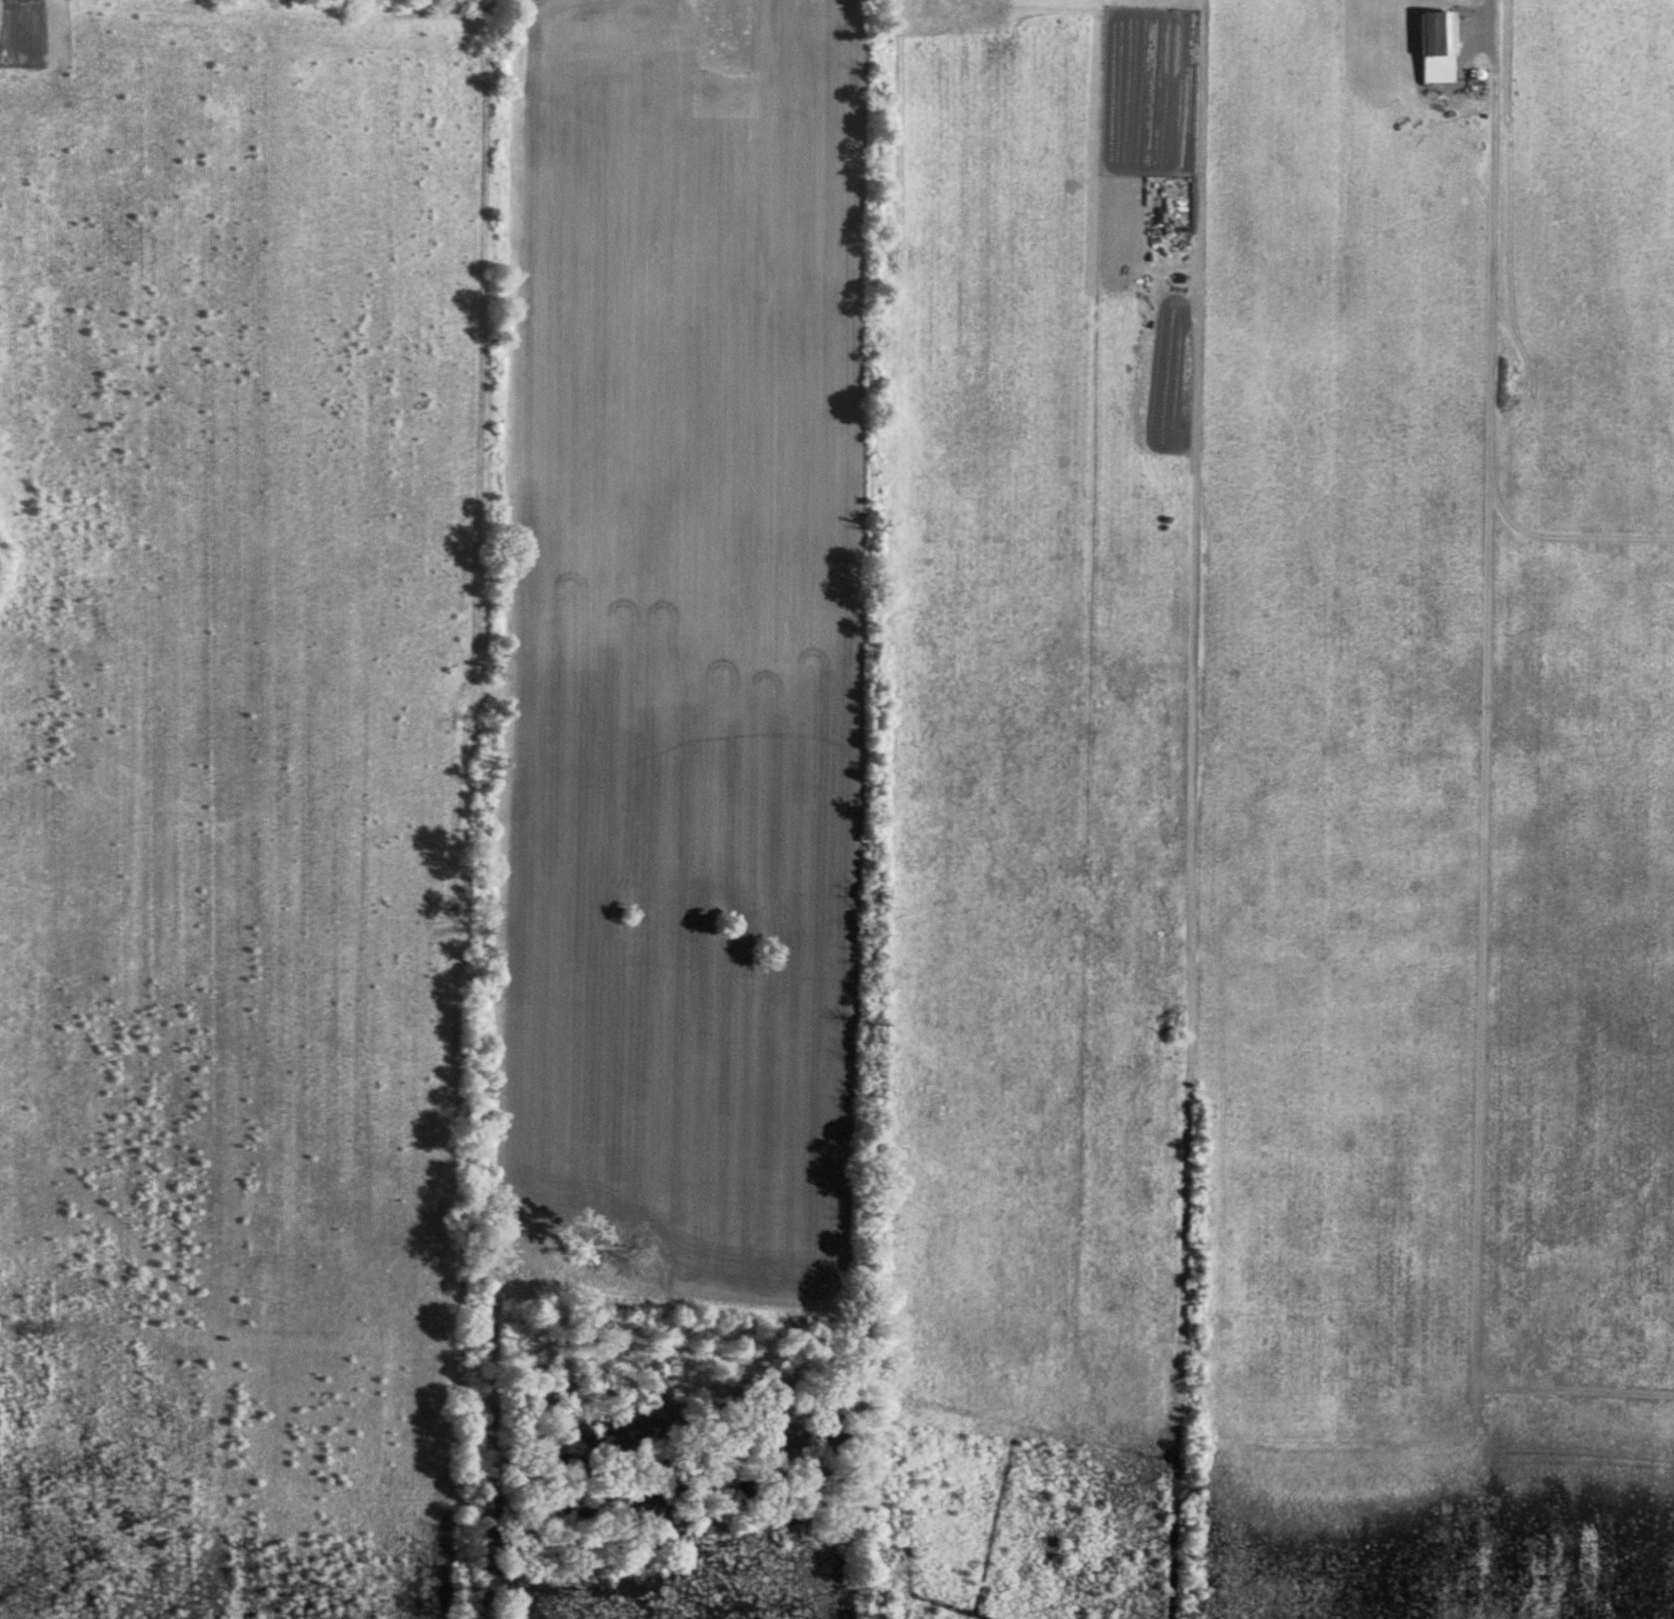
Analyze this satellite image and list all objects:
road: (1469, 23)
building: (1441, 35)
crop: (829, 823)

